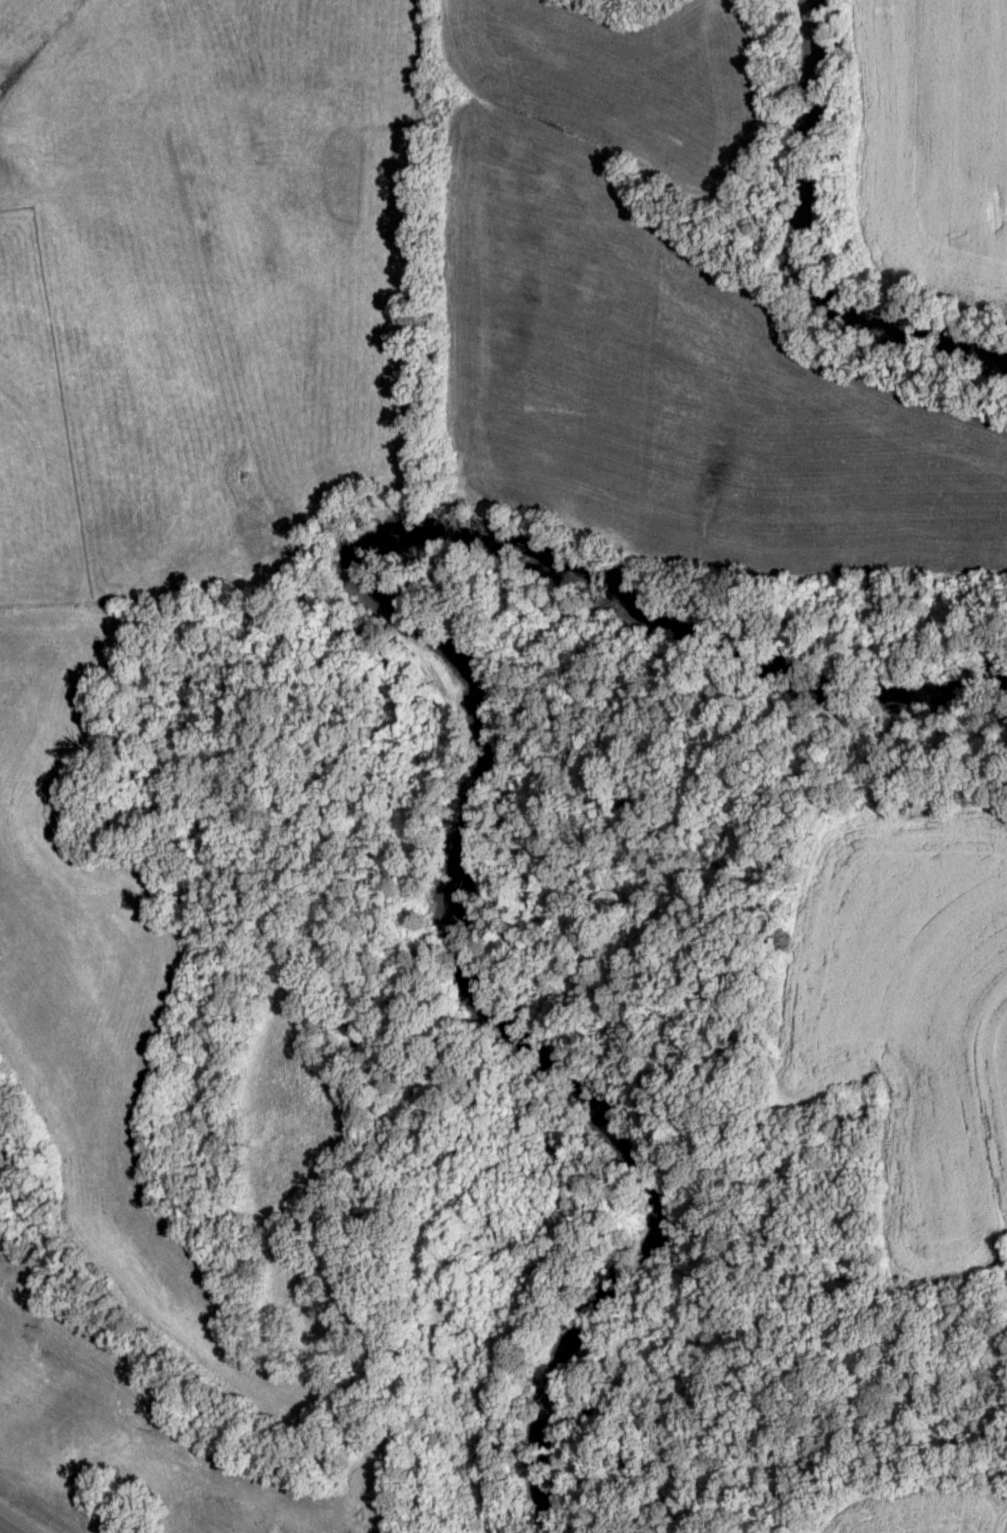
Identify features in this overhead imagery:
river: (801, 235)
river: (495, 743)
road: (2, 1531)

